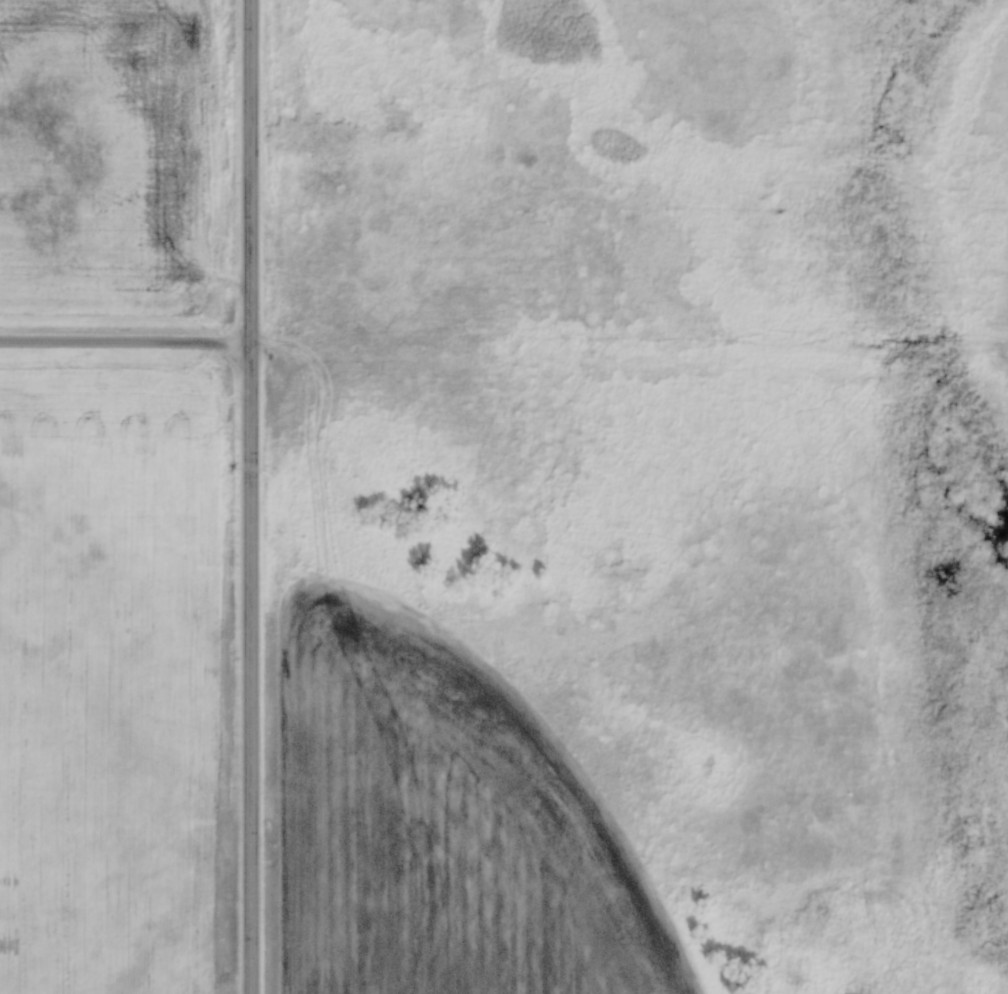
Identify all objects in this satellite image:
road: (124, 342)
road: (249, 497)

